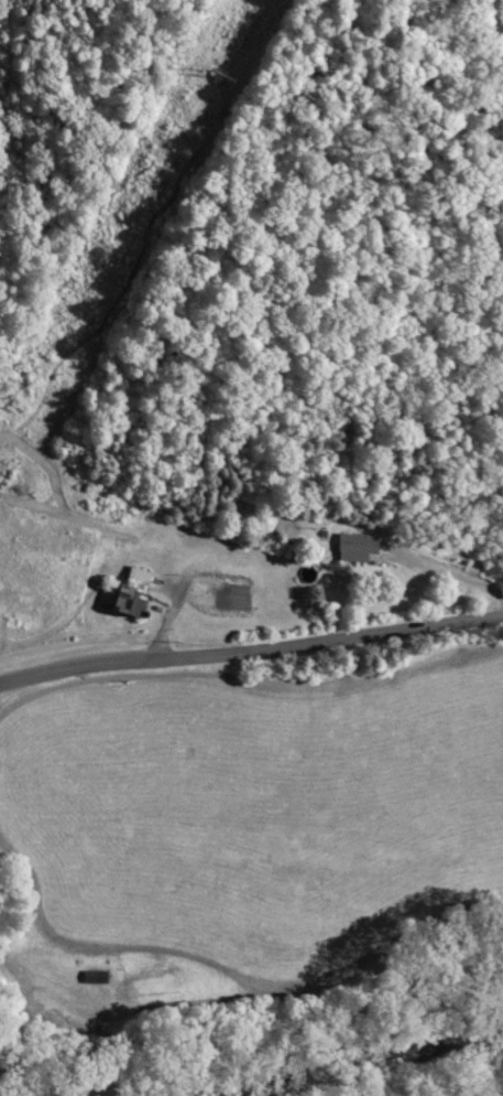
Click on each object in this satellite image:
building: (354, 547)
road: (448, 572)
building: (124, 593)
road: (251, 651)

